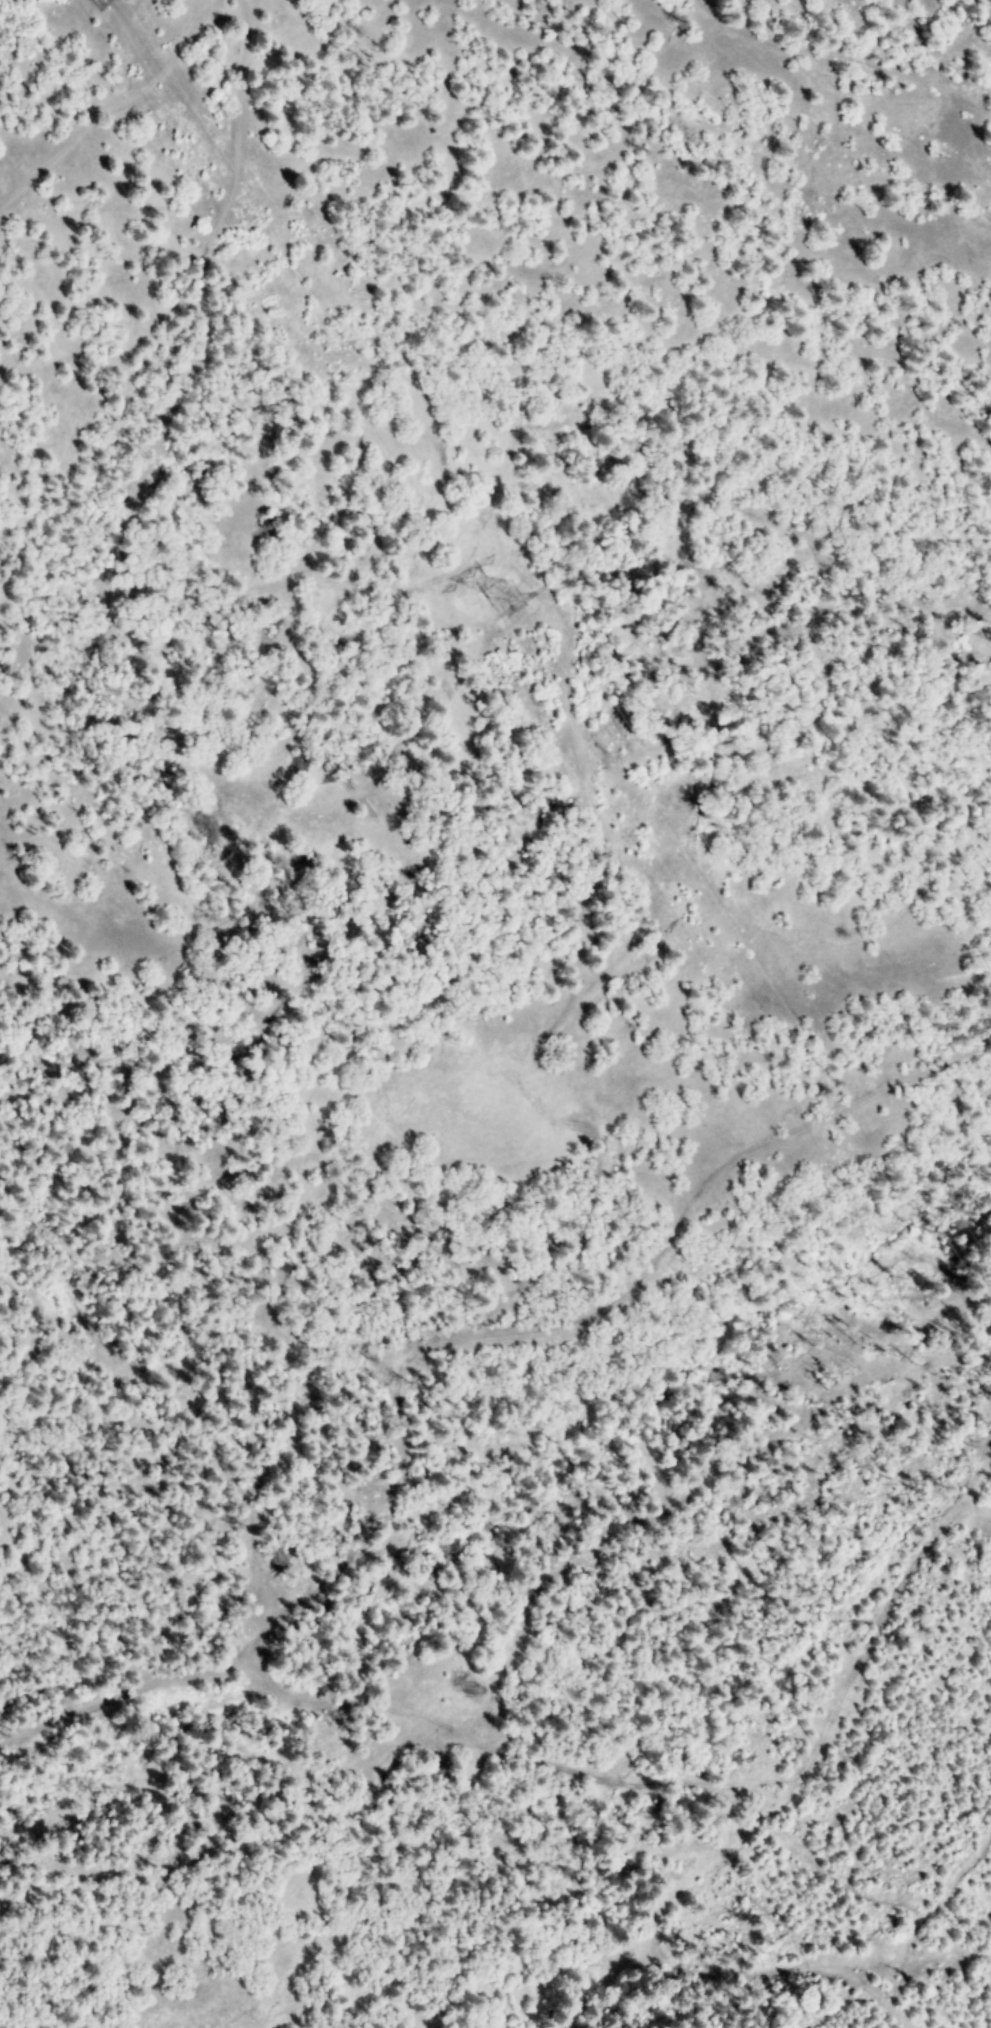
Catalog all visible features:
power tower: (498, 601)
road: (850, 1710)

